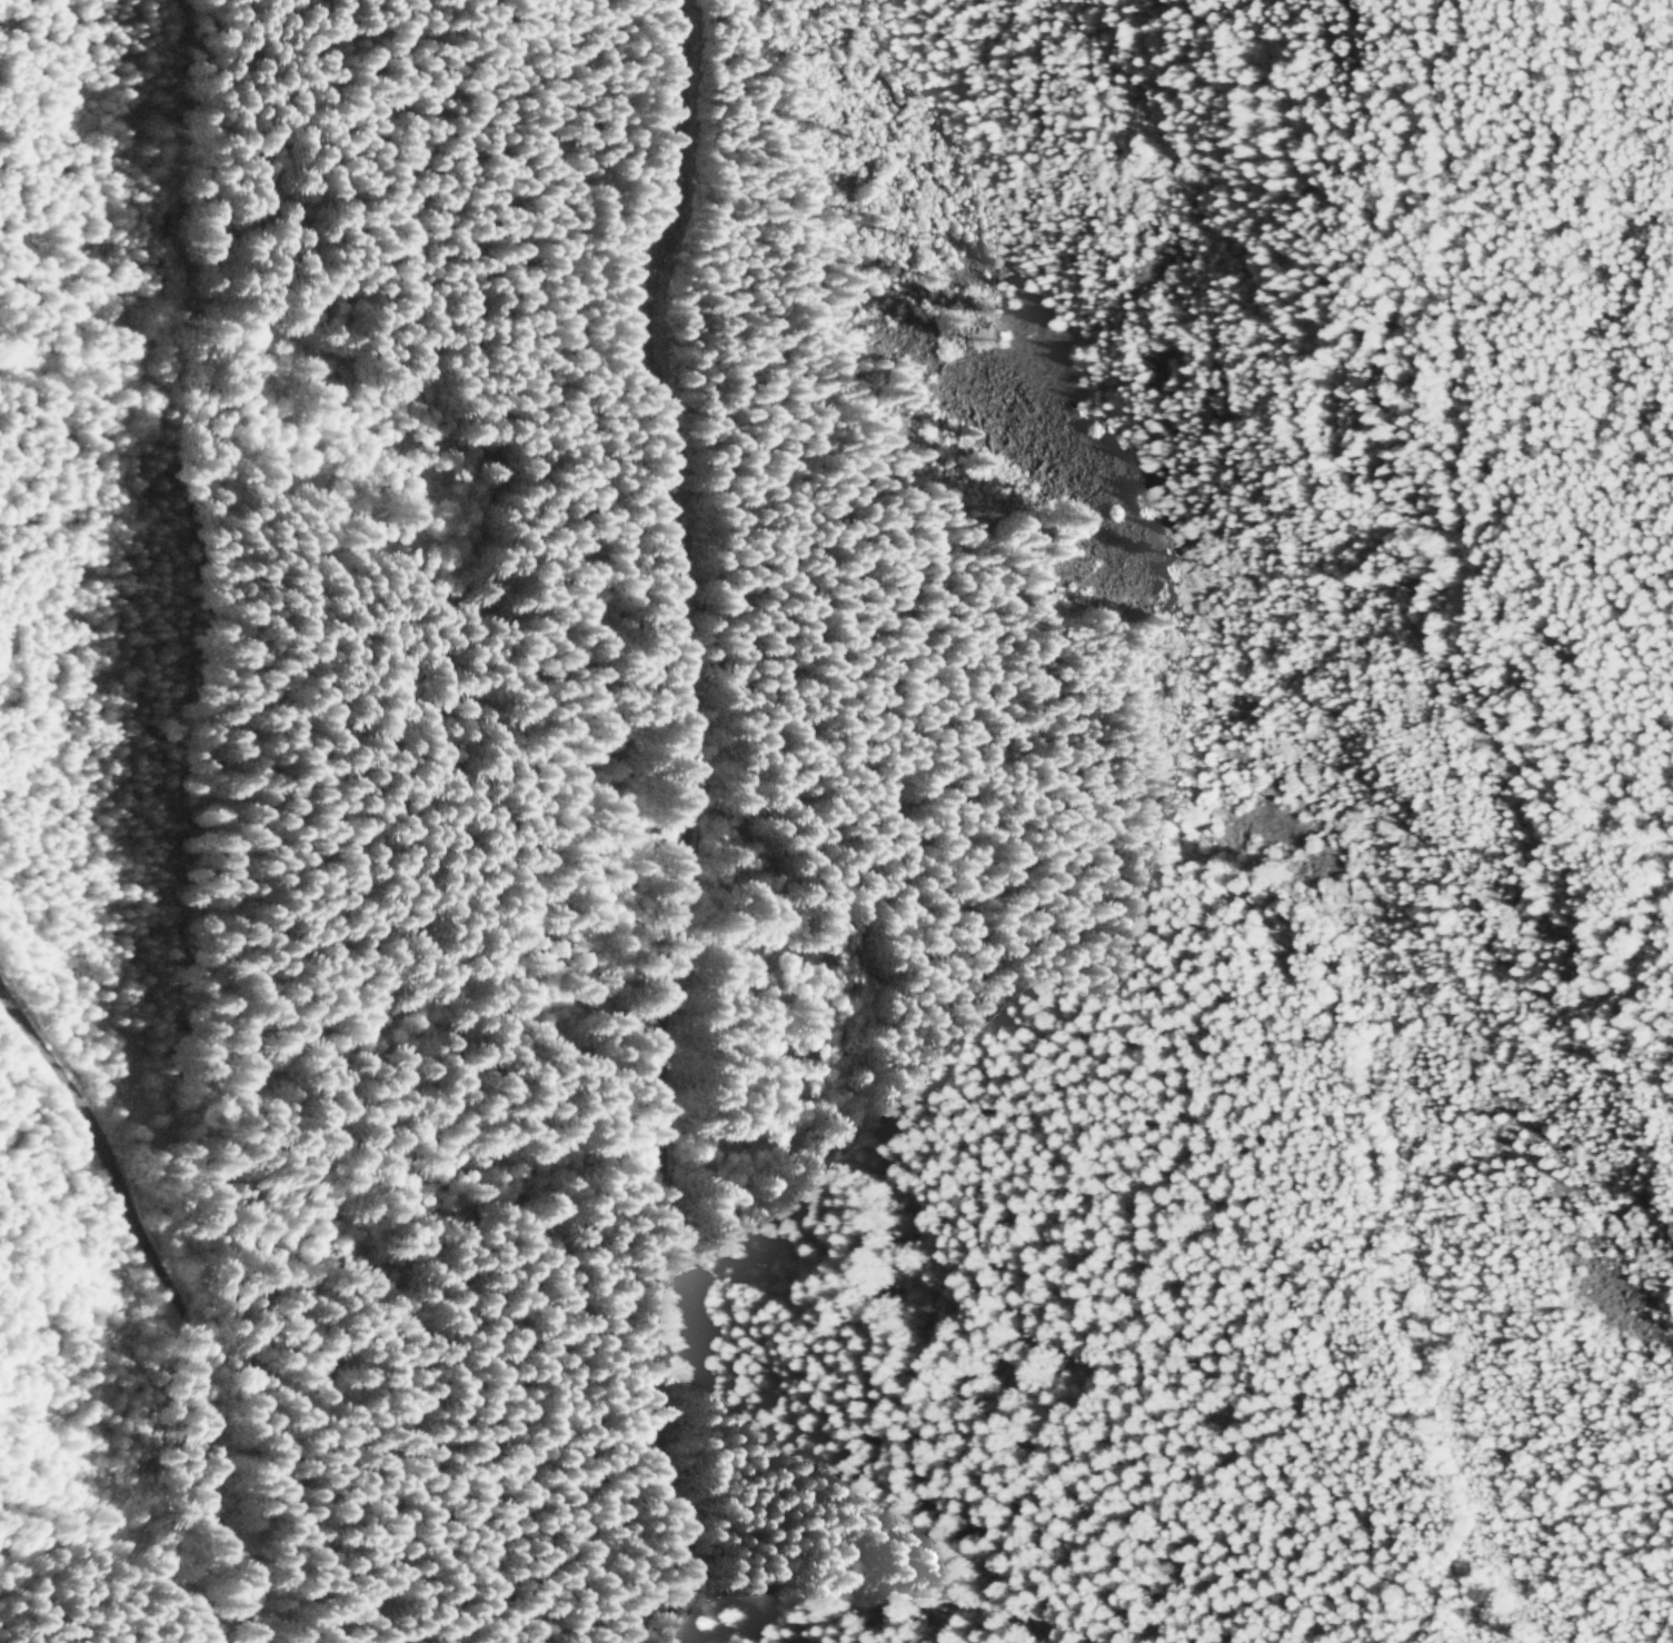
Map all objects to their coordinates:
road: (734, 815)
road: (175, 1301)

